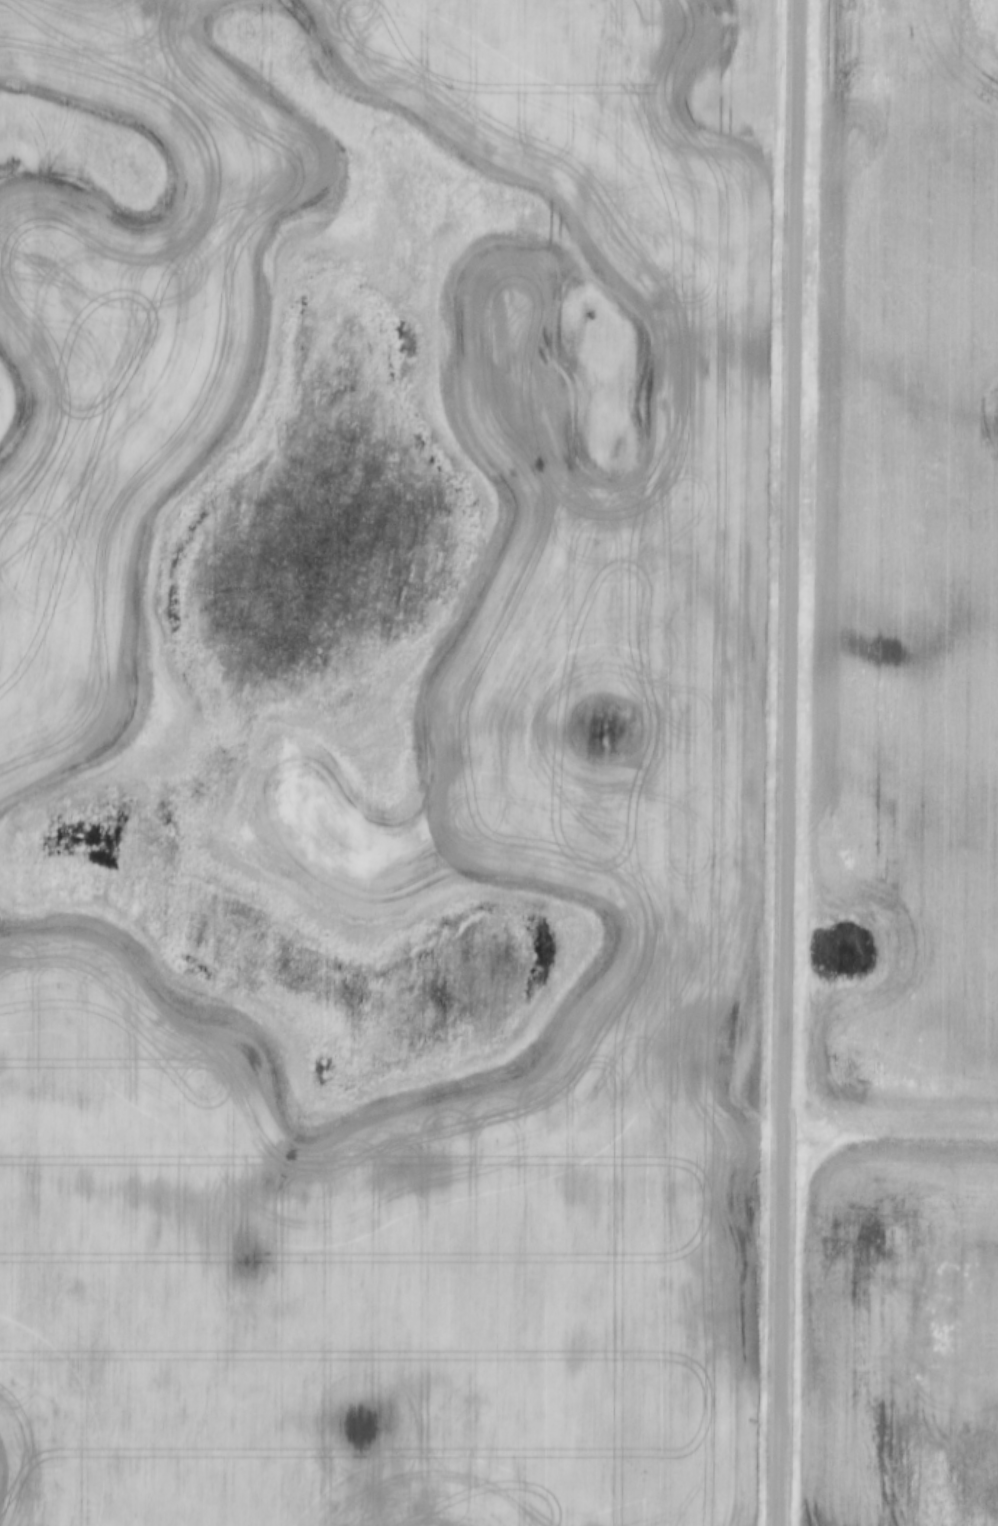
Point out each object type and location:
road: (784, 762)

